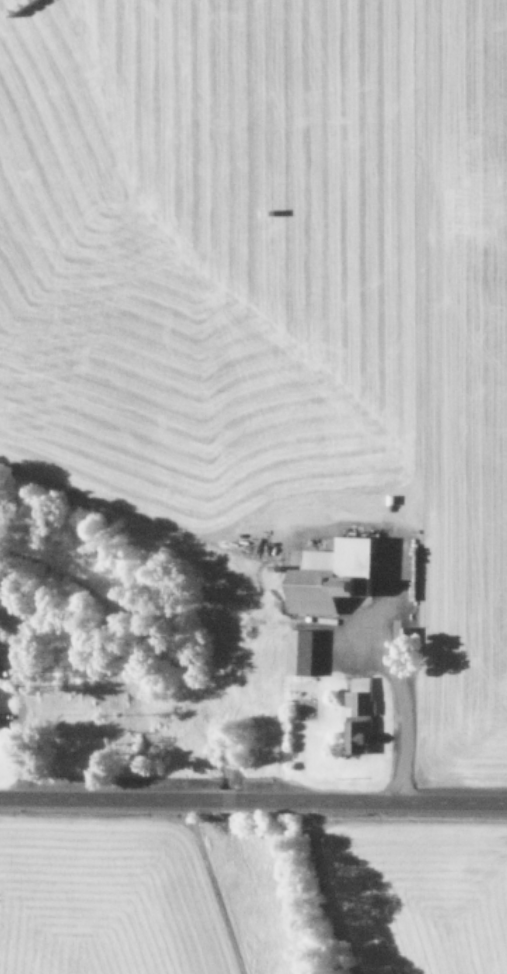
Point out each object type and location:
crop: (271, 284)
building: (330, 575)
building: (299, 652)
building: (358, 716)
road: (253, 798)
crop: (252, 894)

